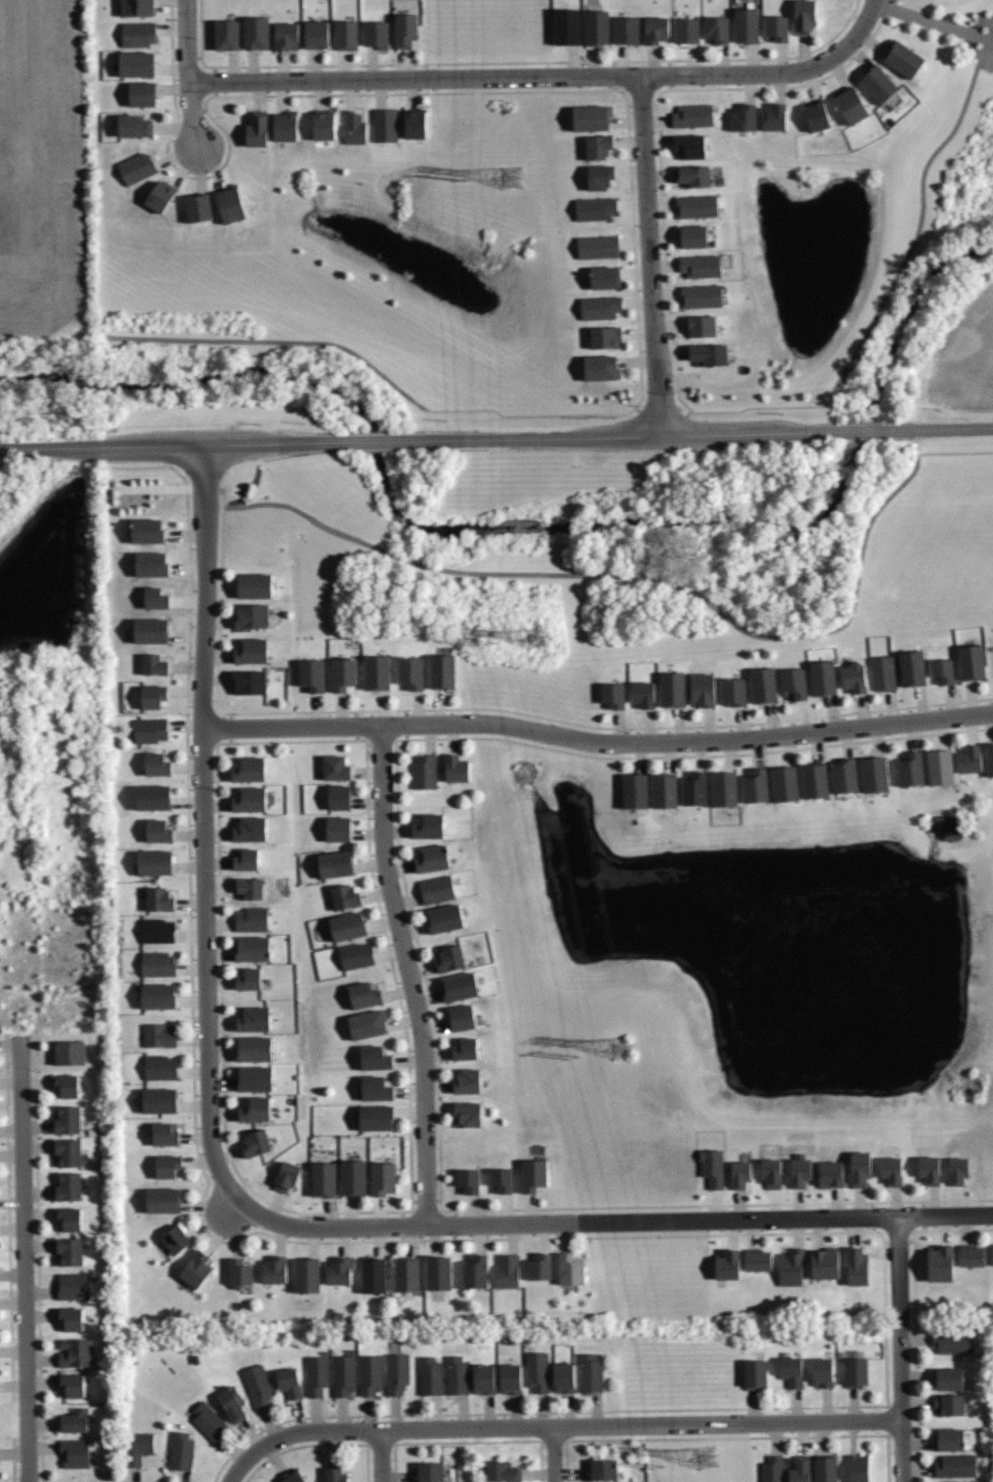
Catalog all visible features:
building: (136, 7)
building: (805, 16)
building: (745, 24)
building: (568, 25)
building: (598, 26)
building: (776, 27)
building: (716, 28)
road: (858, 28)
building: (407, 30)
building: (626, 30)
building: (655, 30)
building: (686, 30)
building: (256, 31)
building: (137, 33)
building: (348, 33)
building: (375, 33)
building: (226, 34)
building: (315, 34)
building: (287, 36)
building: (905, 59)
building: (136, 64)
road: (188, 71)
road: (516, 78)
building: (877, 84)
building: (141, 94)
building: (851, 104)
building: (693, 115)
building: (817, 115)
building: (591, 117)
building: (774, 117)
building: (744, 118)
building: (415, 122)
building: (324, 124)
building: (134, 125)
building: (386, 125)
building: (286, 126)
building: (354, 127)
building: (257, 128)
building: (690, 145)
building: (597, 146)
building: (137, 168)
building: (693, 174)
building: (601, 176)
power tower: (511, 180)
building: (161, 194)
building: (231, 204)
building: (699, 206)
building: (199, 207)
building: (598, 209)
road: (919, 221)
building: (694, 236)
building: (599, 245)
road: (649, 256)
building: (701, 265)
building: (605, 276)
building: (703, 296)
building: (602, 307)
building: (702, 326)
building: (606, 337)
building: (599, 367)
road: (496, 437)
building: (148, 530)
building: (153, 563)
road: (634, 575)
building: (255, 586)
building: (155, 596)
building: (252, 617)
building: (153, 628)
power tower: (541, 644)
building: (252, 650)
building: (972, 661)
building: (154, 663)
building: (913, 667)
building: (943, 670)
building: (445, 671)
building: (380, 672)
building: (413, 672)
building: (883, 673)
building: (314, 674)
building: (346, 675)
building: (825, 677)
building: (853, 677)
building: (252, 682)
building: (765, 684)
building: (796, 685)
building: (671, 690)
building: (702, 690)
building: (733, 691)
building: (614, 693)
building: (643, 693)
building: (154, 695)
building: (151, 730)
road: (598, 742)
building: (991, 756)
building: (968, 759)
building: (157, 764)
building: (336, 766)
building: (941, 766)
building: (911, 768)
building: (250, 769)
building: (455, 769)
building: (422, 771)
building: (875, 773)
building: (845, 774)
building: (816, 780)
building: (786, 783)
building: (757, 786)
building: (530, 788)
building: (694, 788)
building: (726, 788)
building: (636, 790)
building: (666, 790)
building: (339, 796)
building: (154, 797)
building: (250, 799)
road: (203, 825)
building: (429, 825)
building: (251, 828)
building: (339, 828)
building: (159, 830)
building: (433, 858)
building: (246, 859)
building: (156, 861)
building: (337, 864)
building: (248, 887)
building: (438, 889)
building: (347, 896)
building: (161, 899)
building: (253, 919)
building: (446, 919)
building: (349, 926)
building: (159, 930)
building: (254, 949)
building: (356, 956)
building: (448, 957)
building: (159, 964)
road: (410, 974)
building: (249, 978)
building: (461, 987)
building: (364, 994)
building: (159, 995)
building: (461, 1015)
building: (254, 1019)
building: (367, 1025)
building: (160, 1035)
building: (255, 1049)
building: (465, 1049)
power tower: (622, 1049)
building: (70, 1053)
building: (375, 1058)
building: (161, 1067)
building: (255, 1079)
building: (467, 1079)
building: (66, 1085)
building: (377, 1089)
building: (161, 1100)
building: (255, 1110)
building: (467, 1112)
building: (378, 1118)
building: (69, 1120)
building: (165, 1134)
building: (258, 1142)
building: (70, 1152)
building: (169, 1166)
building: (712, 1167)
building: (958, 1168)
building: (860, 1169)
building: (930, 1169)
building: (893, 1170)
building: (800, 1171)
building: (533, 1172)
building: (771, 1173)
building: (740, 1174)
building: (830, 1174)
building: (287, 1177)
building: (356, 1178)
building: (326, 1179)
building: (385, 1179)
building: (468, 1180)
building: (500, 1180)
building: (70, 1186)
building: (165, 1200)
building: (71, 1218)
road: (612, 1222)
building: (175, 1238)
building: (72, 1251)
building: (973, 1255)
building: (989, 1258)
building: (758, 1259)
road: (24, 1260)
building: (940, 1262)
building: (825, 1264)
building: (727, 1266)
building: (537, 1267)
building: (791, 1267)
building: (857, 1267)
building: (196, 1269)
building: (275, 1269)
building: (340, 1270)
building: (568, 1270)
building: (476, 1271)
building: (507, 1271)
building: (241, 1272)
building: (439, 1273)
building: (408, 1274)
building: (308, 1275)
building: (375, 1275)
building: (73, 1285)
building: (70, 1318)
building: (952, 1341)
road: (902, 1349)
building: (76, 1352)
building: (789, 1371)
building: (855, 1371)
building: (398, 1372)
building: (537, 1372)
building: (821, 1372)
building: (592, 1373)
building: (753, 1374)
building: (318, 1375)
building: (345, 1375)
building: (371, 1375)
building: (431, 1376)
building: (458, 1376)
building: (564, 1376)
building: (485, 1377)
building: (511, 1377)
building: (949, 1379)
building: (289, 1381)
building: (72, 1383)
building: (258, 1385)
building: (233, 1402)
building: (949, 1403)
building: (74, 1420)
building: (209, 1420)
road: (557, 1425)
building: (950, 1439)
building: (139, 1446)
building: (181, 1450)
building: (75, 1452)
road: (553, 1454)
power tower: (707, 1454)
road: (381, 1455)
building: (957, 1466)
building: (826, 1467)
building: (858, 1467)
building: (800, 1468)
building: (603, 1469)
building: (773, 1469)
building: (503, 1471)
building: (430, 1472)
building: (336, 1473)
building: (292, 1477)

